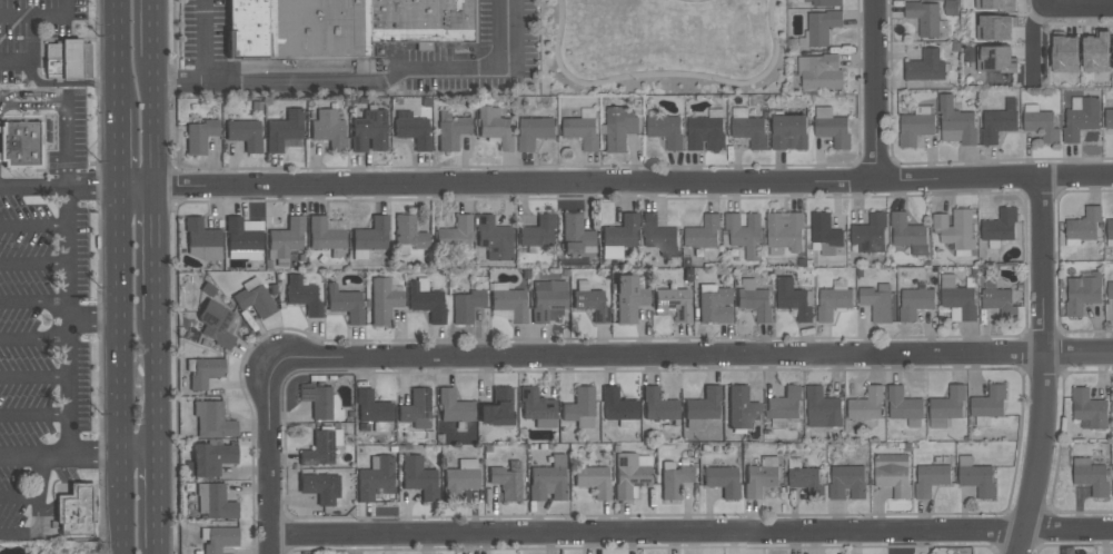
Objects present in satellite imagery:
road: (694, 0)
building: (826, 2)
building: (995, 3)
road: (1076, 4)
road: (41, 17)
building: (924, 17)
building: (823, 26)
building: (994, 26)
building: (345, 28)
road: (151, 31)
road: (1030, 40)
street lamp: (779, 41)
road: (556, 42)
road: (116, 46)
park: (663, 47)
building: (1064, 52)
building: (1095, 52)
road: (29, 55)
building: (994, 58)
building: (67, 61)
building: (925, 66)
road: (203, 67)
road: (151, 71)
building: (819, 72)
street lamp: (563, 76)
road: (389, 79)
street lamp: (635, 79)
street lamp: (716, 82)
road: (67, 83)
road: (877, 89)
road: (151, 91)
road: (63, 109)
road: (151, 110)
building: (1109, 118)
building: (1081, 119)
building: (998, 121)
building: (956, 122)
building: (1041, 125)
building: (619, 127)
building: (495, 128)
building: (914, 128)
building: (328, 129)
building: (282, 130)
building: (666, 130)
building: (751, 130)
building: (834, 130)
building: (369, 131)
building: (413, 131)
building: (534, 131)
building: (582, 131)
building: (705, 132)
building: (789, 132)
building: (451, 133)
building: (245, 135)
building: (199, 137)
road: (117, 140)
building: (27, 148)
road: (151, 154)
road: (632, 181)
road: (109, 187)
building: (1084, 222)
building: (1000, 225)
road: (33, 227)
building: (954, 227)
building: (1110, 228)
building: (784, 231)
building: (408, 233)
building: (537, 233)
building: (620, 233)
building: (703, 233)
building: (825, 233)
building: (908, 233)
building: (455, 234)
building: (745, 234)
building: (871, 234)
building: (200, 235)
building: (322, 235)
building: (240, 236)
building: (371, 236)
building: (659, 236)
building: (287, 237)
building: (575, 237)
building: (493, 238)
road: (118, 255)
road: (152, 255)
road: (33, 265)
road: (67, 288)
building: (1110, 289)
building: (1082, 291)
building: (302, 296)
building: (793, 298)
building: (627, 299)
building: (960, 300)
building: (255, 301)
building: (548, 301)
building: (877, 301)
building: (382, 303)
building: (673, 303)
building: (755, 303)
building: (833, 303)
building: (915, 303)
building: (1001, 303)
road: (33, 304)
building: (345, 304)
building: (427, 304)
building: (510, 304)
building: (589, 304)
building: (466, 306)
building: (715, 307)
road: (93, 321)
building: (216, 325)
road: (33, 339)
road: (693, 355)
road: (1045, 367)
building: (205, 373)
road: (33, 378)
road: (120, 388)
road: (153, 388)
building: (317, 400)
building: (990, 402)
building: (785, 403)
building: (866, 404)
building: (903, 404)
building: (948, 404)
building: (535, 405)
building: (578, 405)
building: (617, 406)
building: (657, 406)
building: (703, 406)
building: (453, 407)
building: (823, 407)
building: (371, 408)
building: (497, 408)
building: (741, 408)
building: (1090, 408)
building: (416, 409)
building: (212, 421)
building: (318, 451)
road: (268, 454)
road: (139, 456)
road: (34, 457)
road: (96, 457)
building: (211, 459)
building: (893, 474)
building: (629, 476)
road: (41, 477)
building: (418, 477)
building: (374, 478)
building: (931, 478)
building: (978, 478)
building: (1093, 478)
building: (759, 479)
building: (593, 481)
building: (806, 481)
building: (847, 481)
building: (675, 482)
building: (722, 482)
building: (459, 483)
building: (506, 483)
building: (547, 484)
building: (320, 487)
road: (156, 503)
building: (219, 504)
road: (122, 505)
building: (78, 513)
road: (38, 516)
road: (690, 535)
building: (220, 540)
road: (157, 552)

